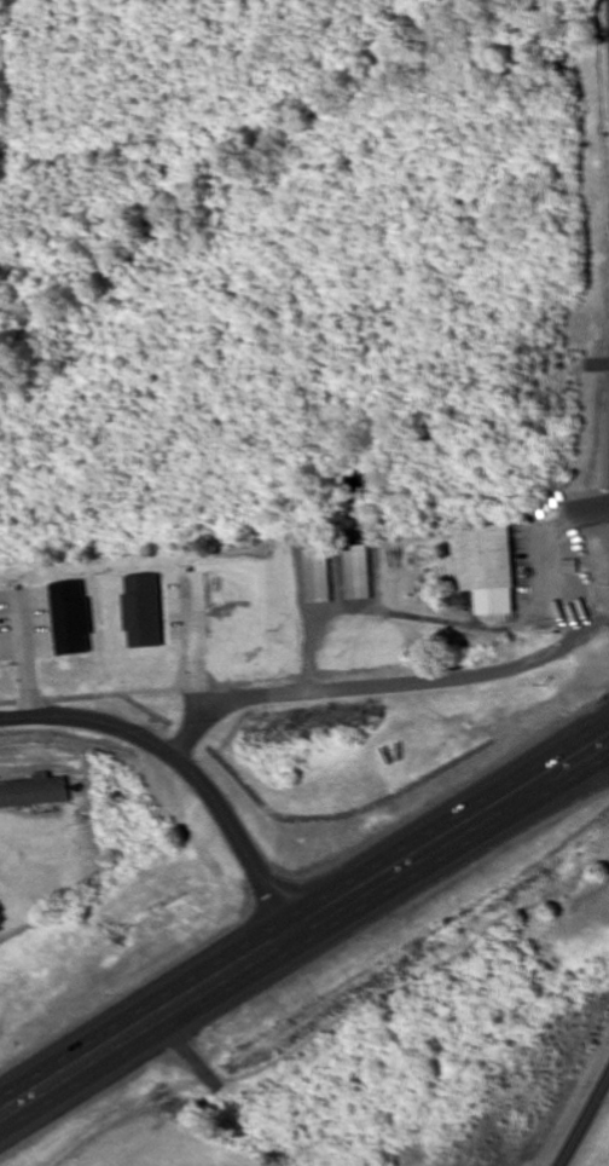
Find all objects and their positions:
building: (587, 553)
building: (486, 559)
building: (569, 570)
building: (358, 575)
building: (319, 579)
road: (381, 687)
road: (184, 772)
building: (34, 791)
road: (304, 929)
road: (582, 1119)

